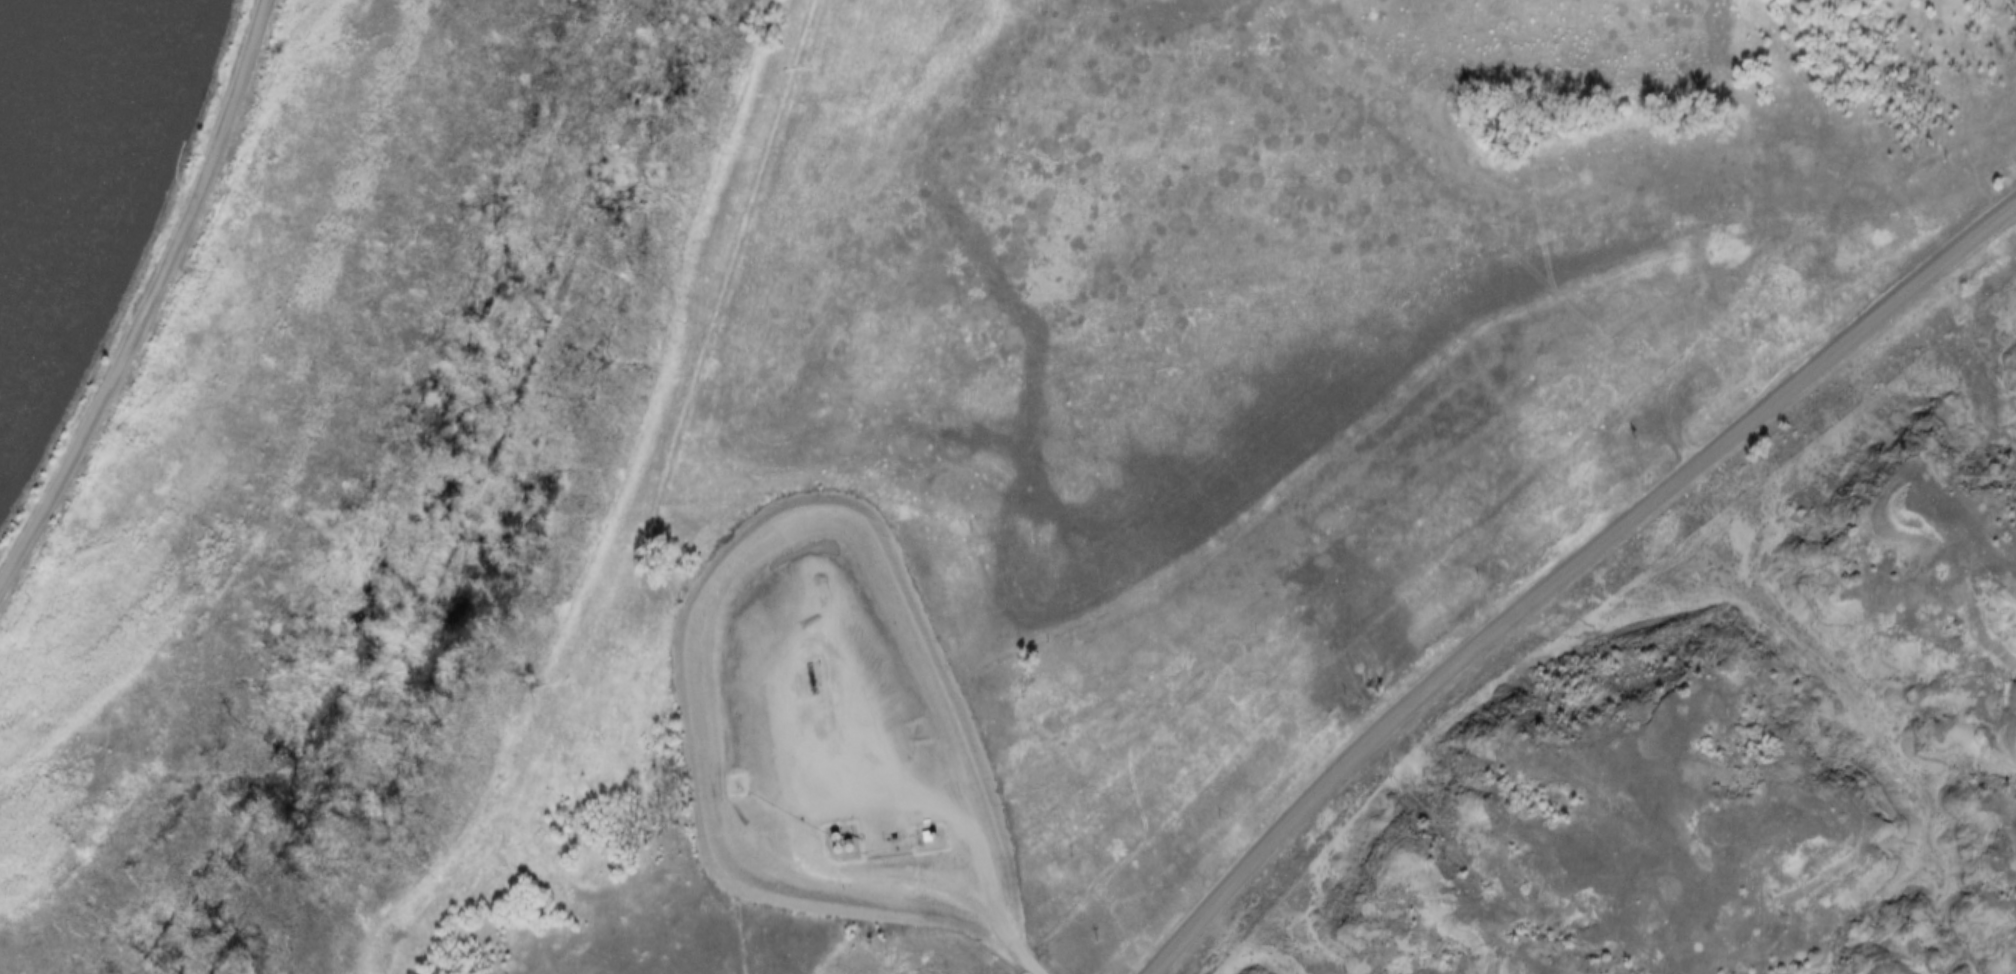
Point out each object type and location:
road: (149, 298)
road: (1570, 574)
road: (924, 888)

